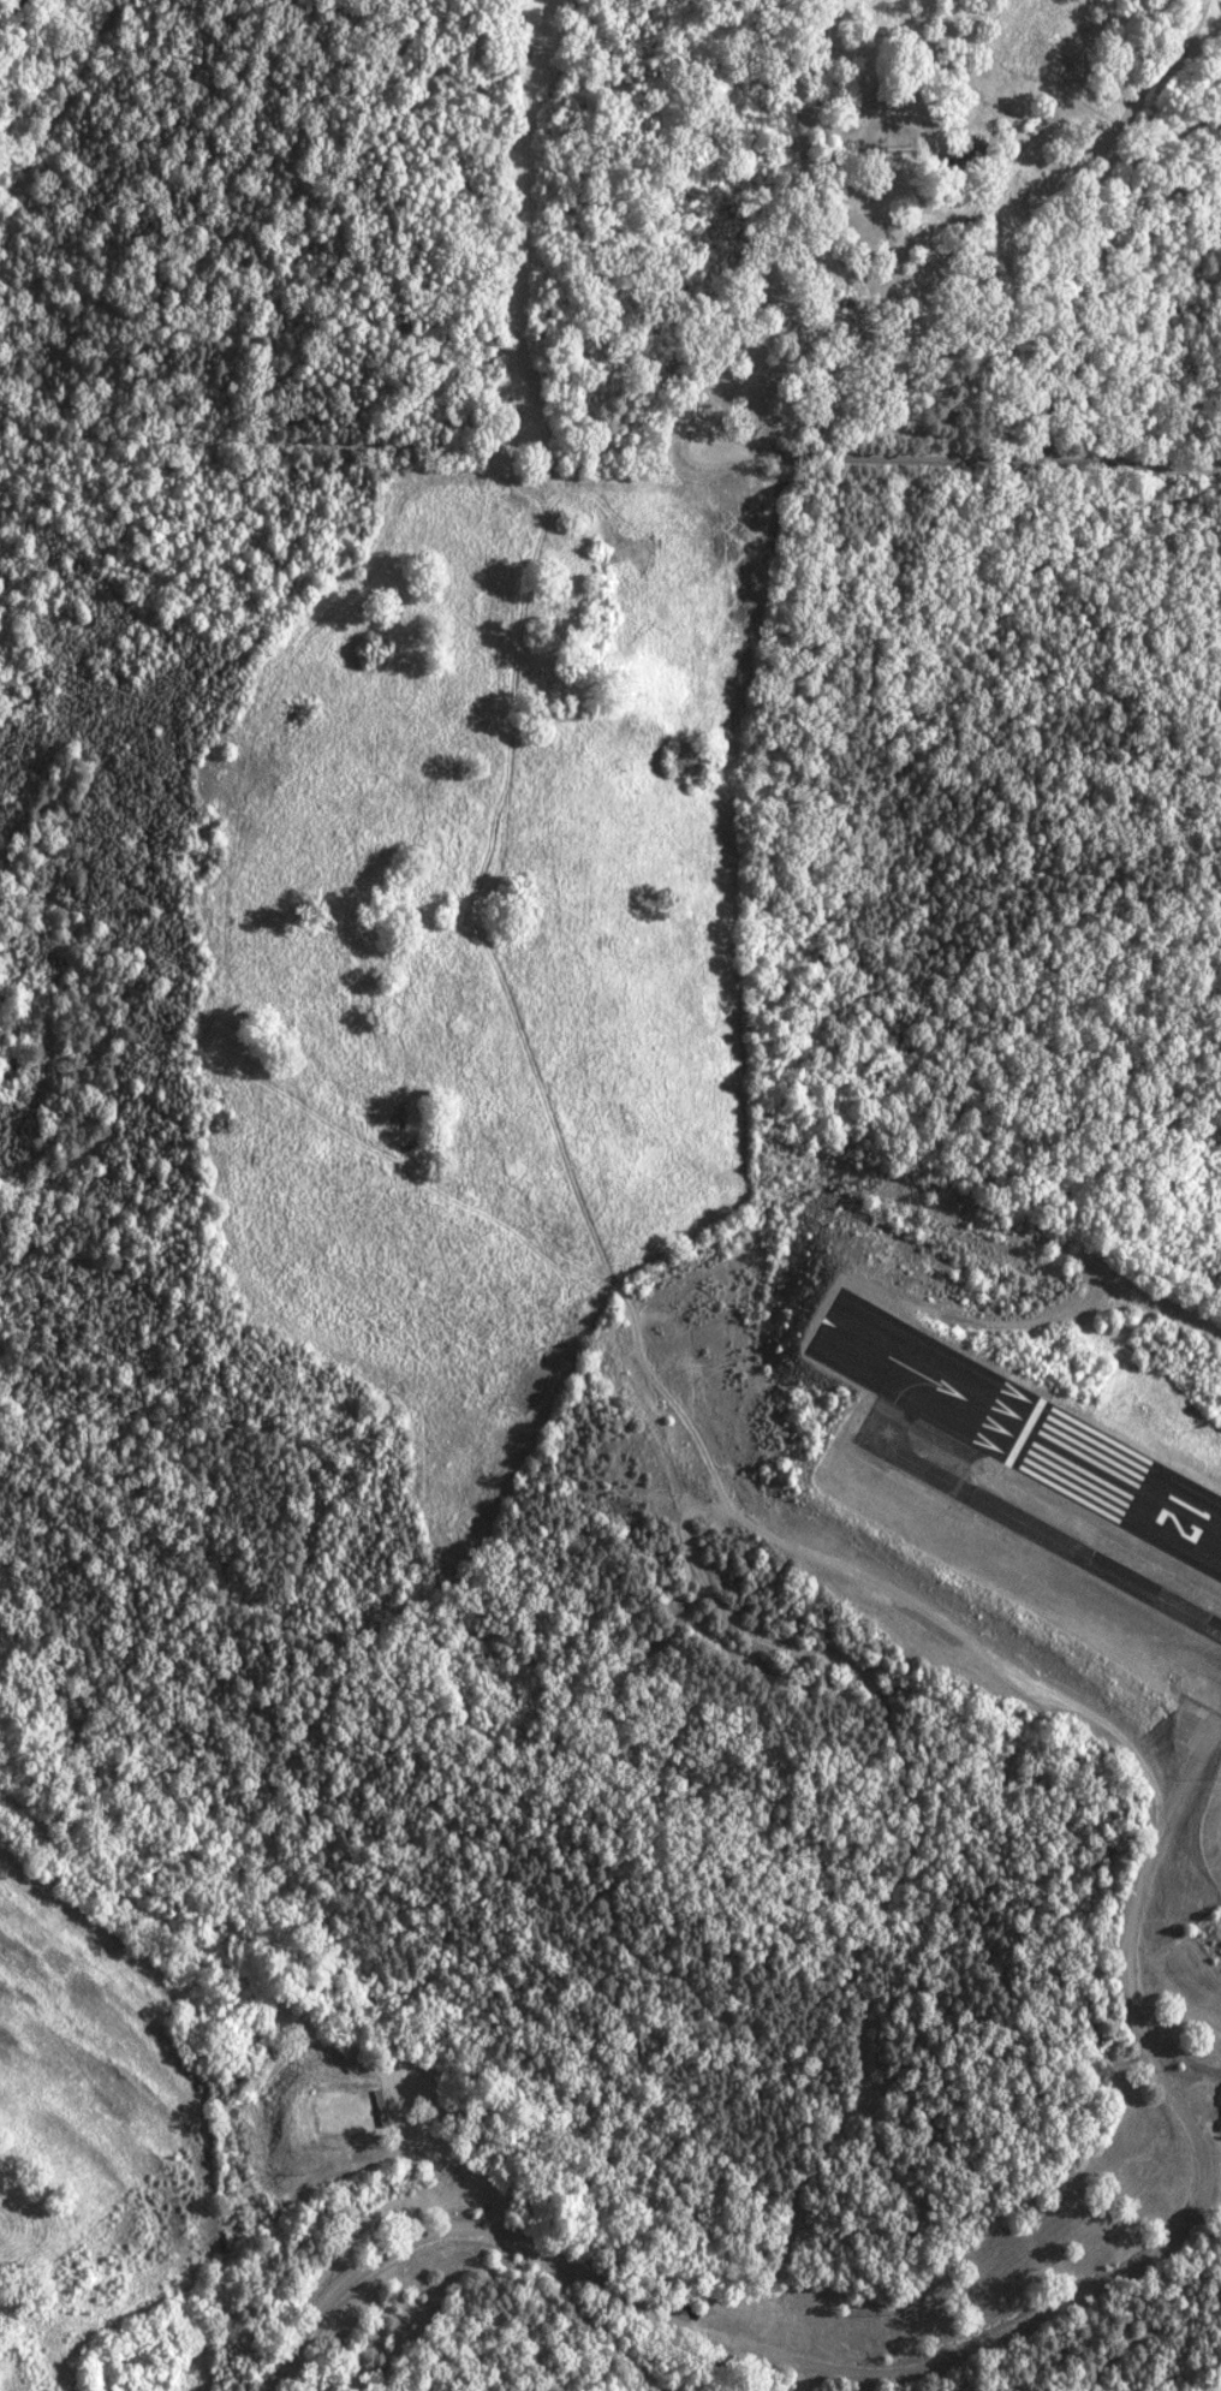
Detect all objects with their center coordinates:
road: (764, 220)
road: (897, 295)
road: (848, 462)
airport runway: (805, 1339)
airport taxiway: (1034, 1530)
airport: (893, 1678)
airport apron: (1211, 1833)
road: (406, 2244)
road: (1155, 2258)
road: (606, 2280)

